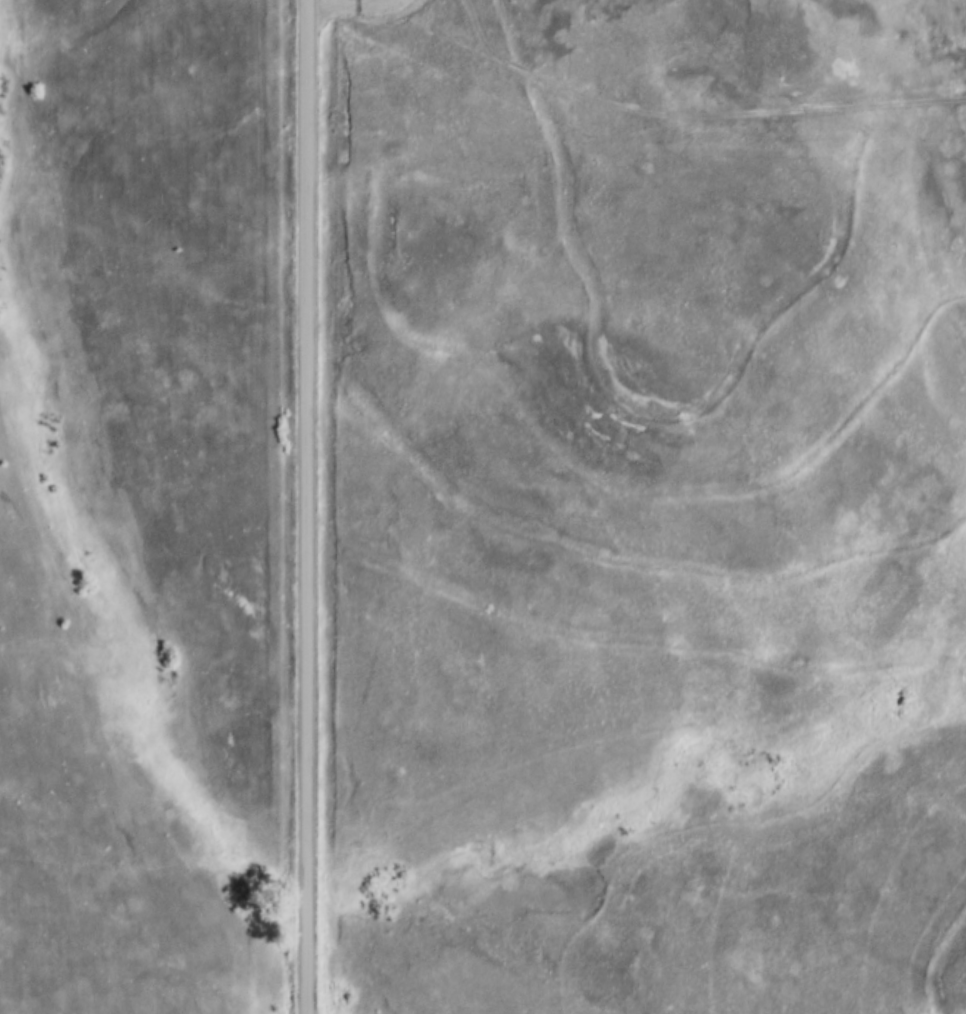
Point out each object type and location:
road: (628, 109)
road: (305, 507)

